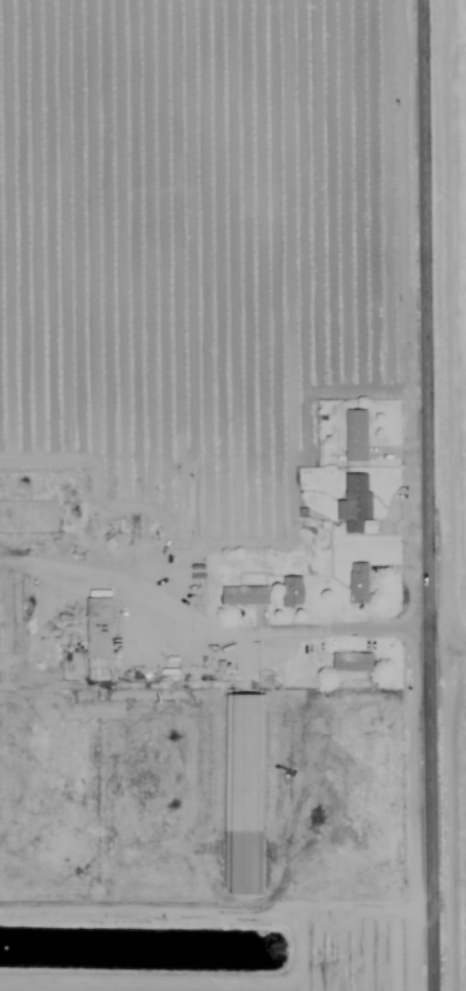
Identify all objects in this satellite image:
crop: (242, 266)
building: (357, 435)
road: (428, 495)
building: (355, 503)
building: (29, 518)
building: (118, 525)
building: (359, 583)
building: (293, 592)
building: (245, 595)
building: (12, 625)
road: (209, 625)
building: (99, 628)
road: (448, 636)
building: (353, 662)
building: (244, 785)
road: (216, 904)

